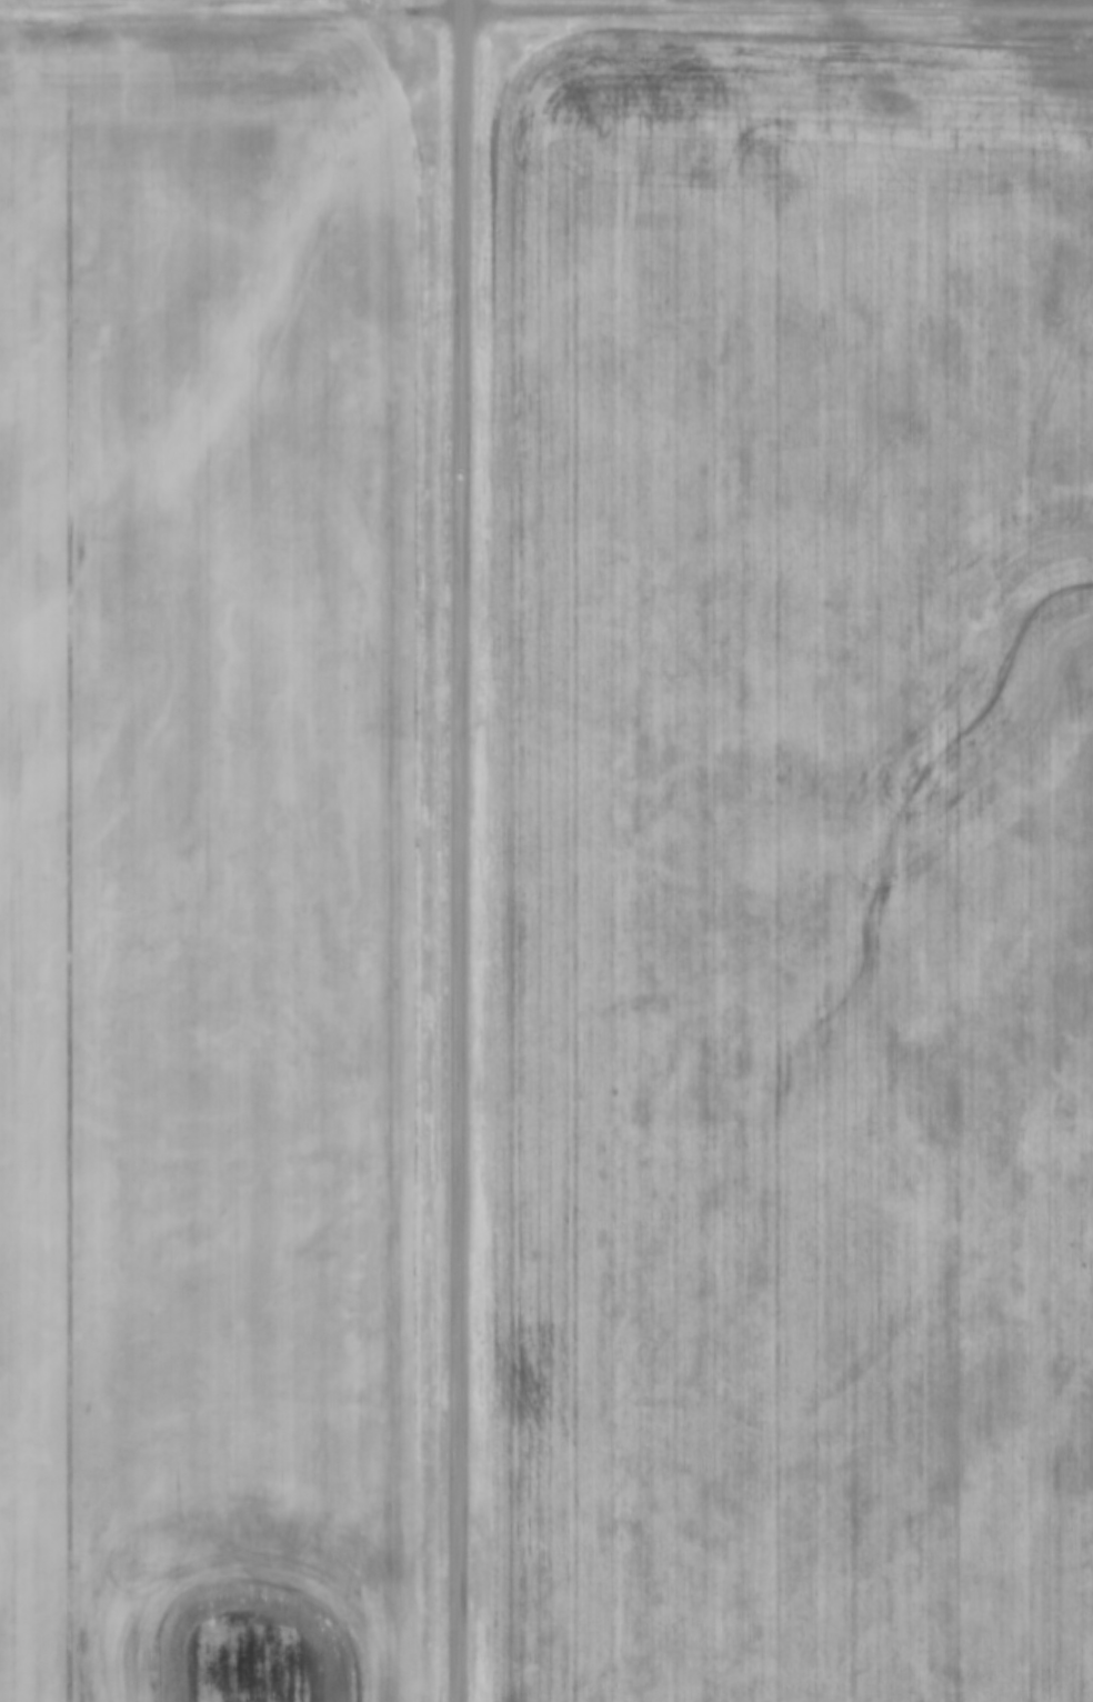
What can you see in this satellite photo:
road: (461, 3)
road: (776, 7)
road: (230, 13)
road: (455, 853)

